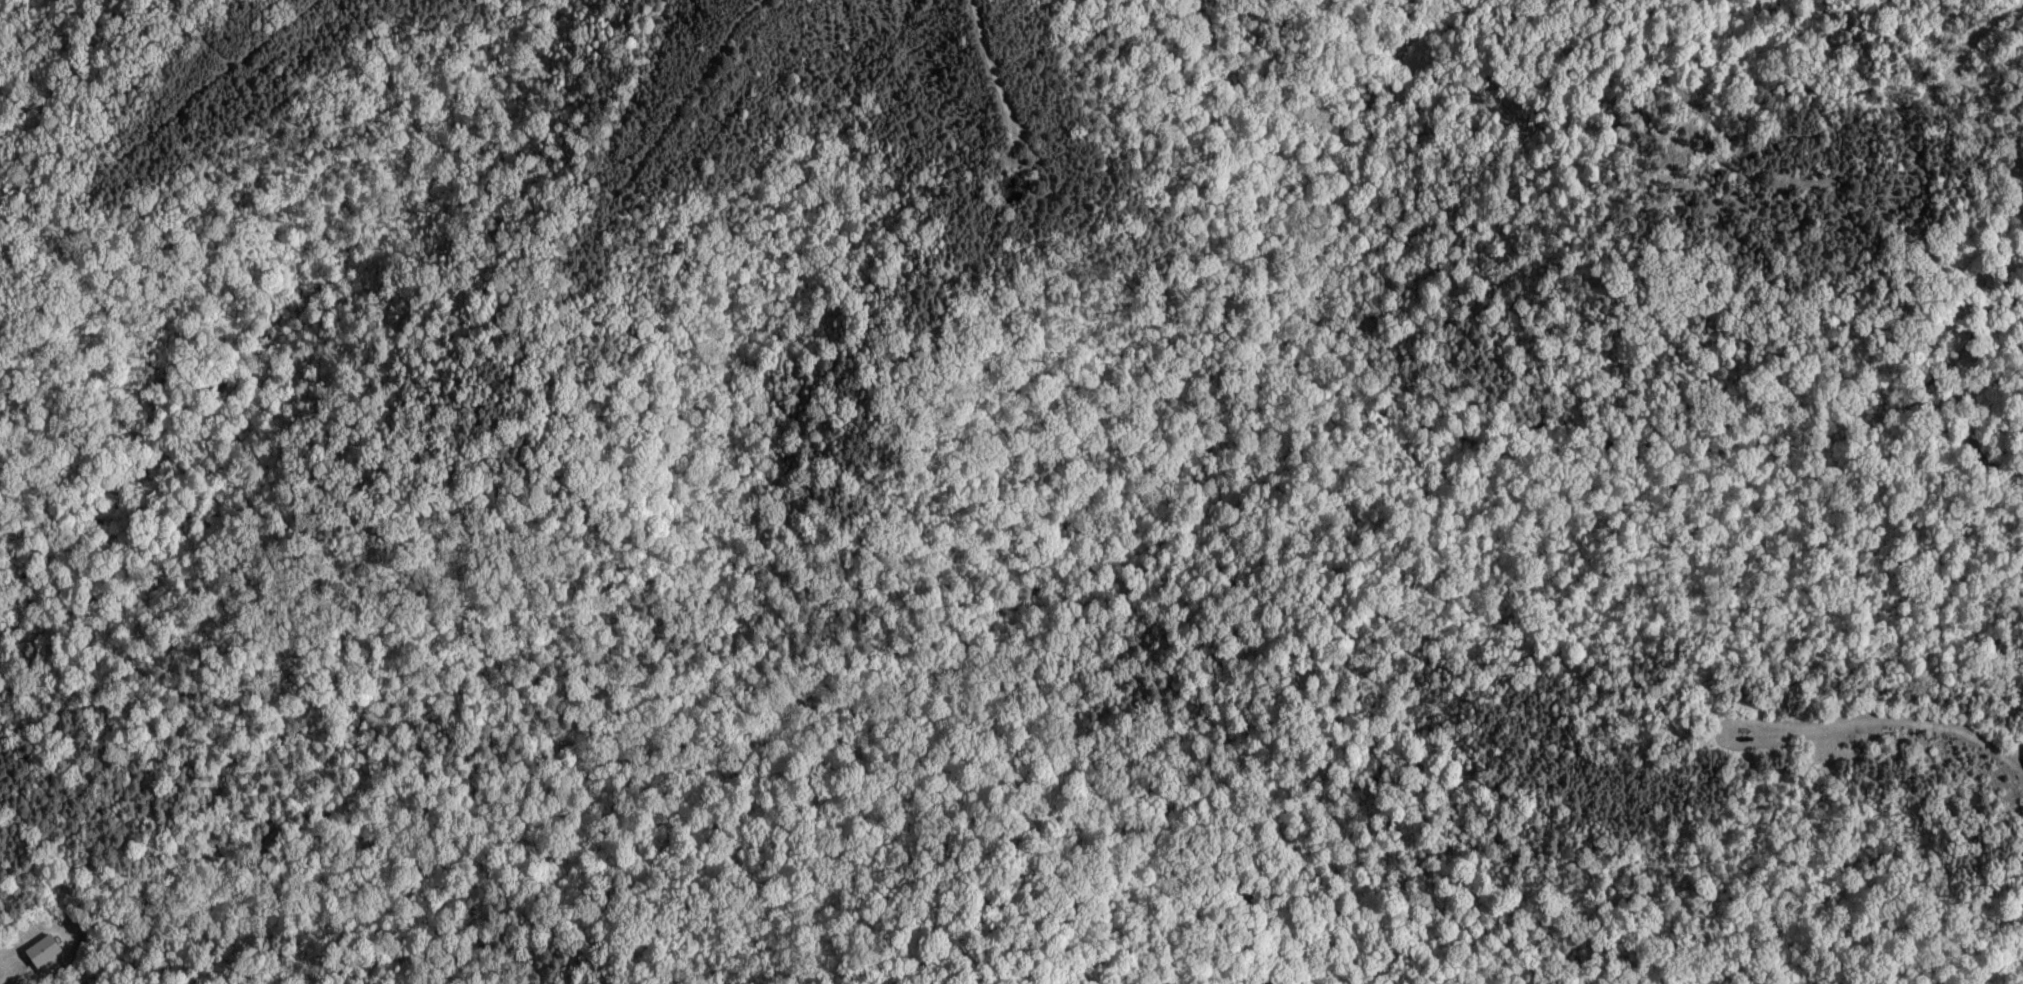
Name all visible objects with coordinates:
building: (42, 951)

